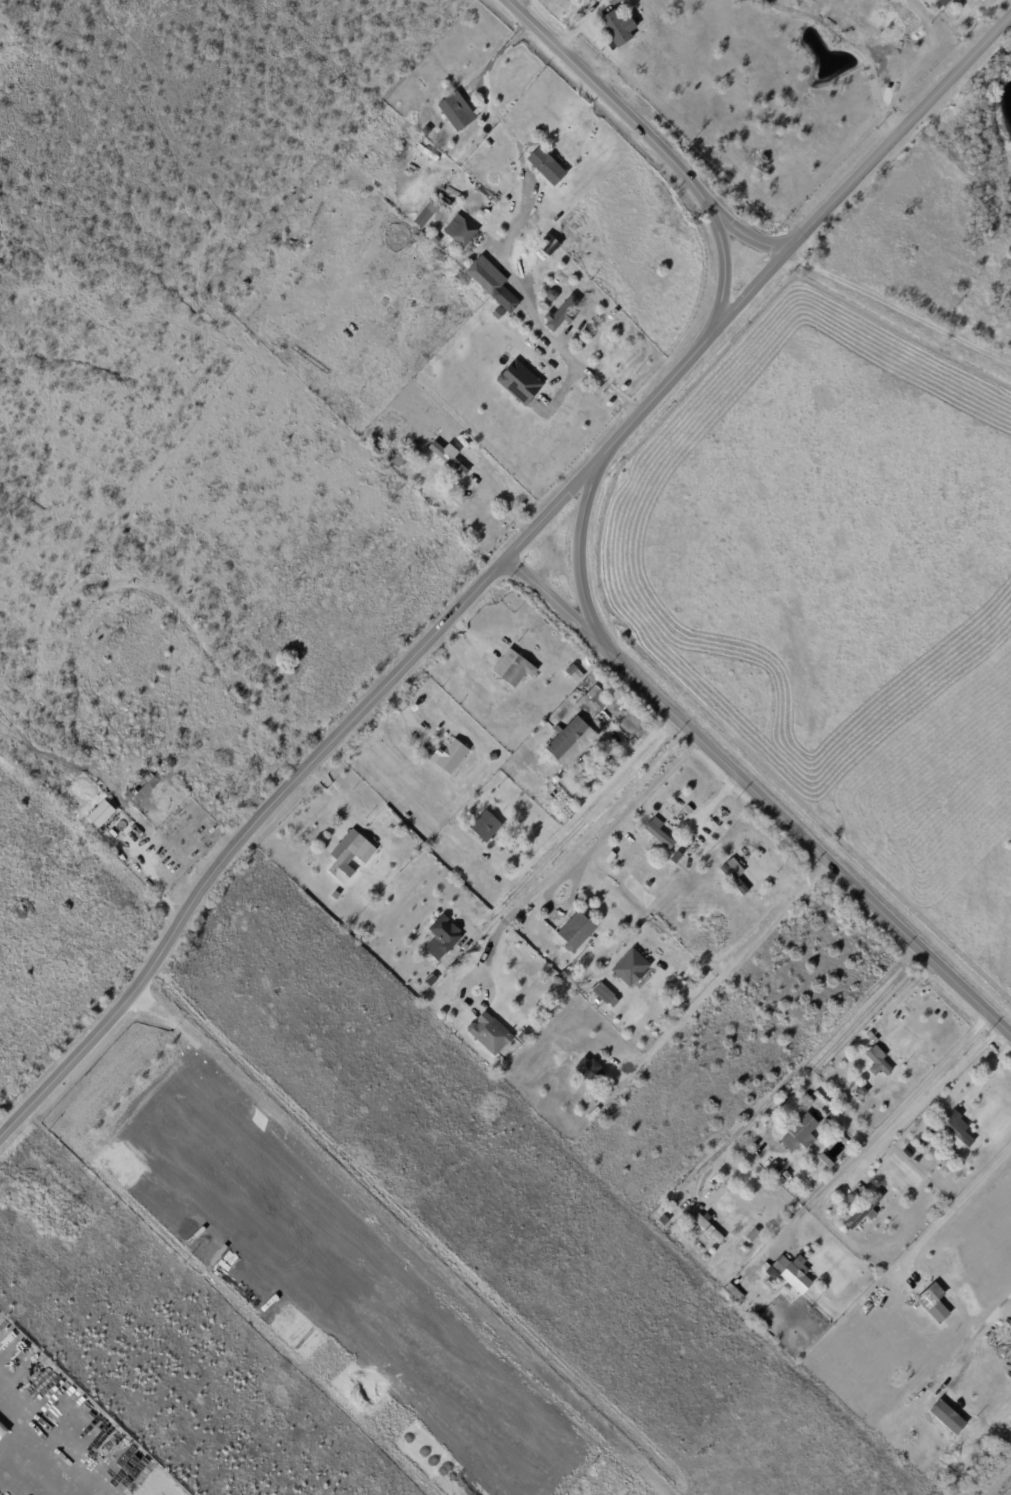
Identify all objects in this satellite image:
building: (941, 2)
building: (615, 27)
road: (608, 97)
building: (454, 111)
building: (426, 130)
building: (543, 165)
road: (860, 172)
building: (422, 218)
building: (459, 231)
road: (741, 232)
building: (434, 239)
building: (546, 243)
road: (724, 264)
building: (552, 295)
building: (504, 300)
road: (897, 309)
building: (561, 313)
road: (550, 337)
building: (516, 381)
road: (656, 394)
building: (376, 446)
building: (415, 453)
building: (399, 457)
building: (448, 457)
road: (579, 547)
road: (550, 598)
building: (512, 667)
building: (570, 669)
building: (597, 696)
building: (621, 715)
road: (662, 729)
building: (567, 739)
building: (450, 756)
building: (494, 757)
building: (592, 762)
building: (147, 785)
road: (288, 786)
building: (103, 813)
building: (485, 826)
building: (659, 834)
road: (567, 837)
road: (801, 840)
road: (572, 848)
building: (350, 856)
building: (608, 858)
building: (648, 884)
building: (739, 885)
building: (335, 895)
building: (572, 935)
building: (441, 937)
building: (651, 948)
road: (915, 955)
building: (600, 960)
road: (730, 962)
building: (628, 967)
building: (565, 974)
building: (599, 976)
building: (660, 977)
building: (431, 980)
building: (601, 992)
building: (612, 1001)
road: (852, 1023)
building: (488, 1034)
building: (523, 1036)
building: (878, 1061)
road: (794, 1070)
building: (589, 1071)
building: (861, 1091)
road: (918, 1107)
building: (955, 1130)
building: (800, 1131)
road: (875, 1135)
building: (950, 1157)
building: (811, 1163)
building: (775, 1173)
building: (863, 1212)
road: (946, 1213)
building: (707, 1228)
building: (753, 1235)
building: (742, 1249)
building: (791, 1273)
building: (730, 1290)
building: (932, 1307)
building: (758, 1316)
road: (977, 1341)
building: (948, 1417)

